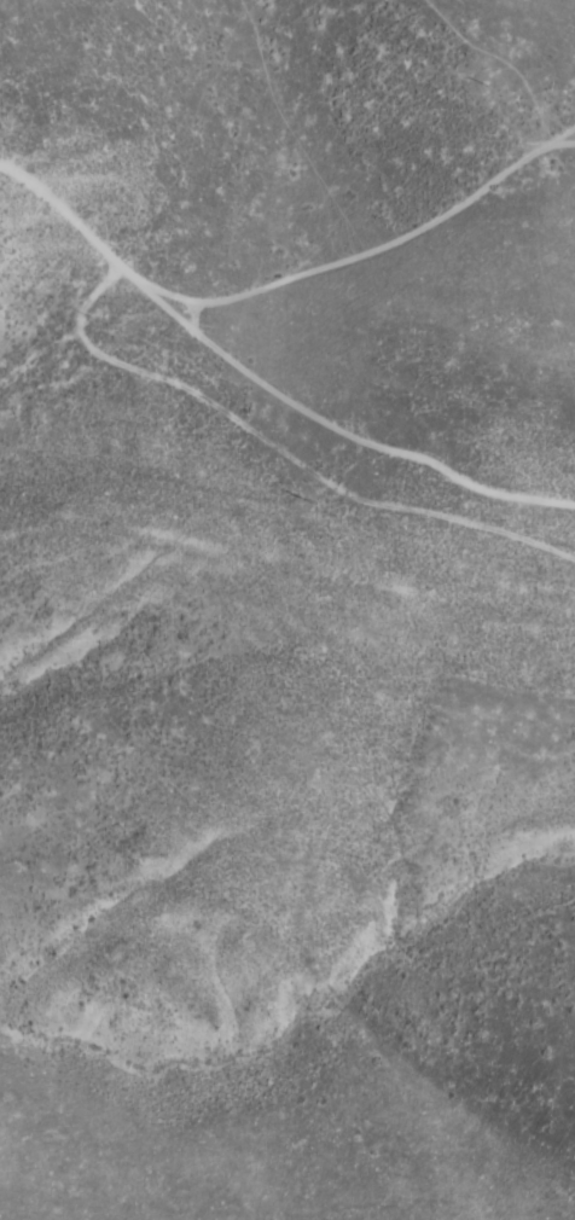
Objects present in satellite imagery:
road: (262, 385)
road: (279, 451)

